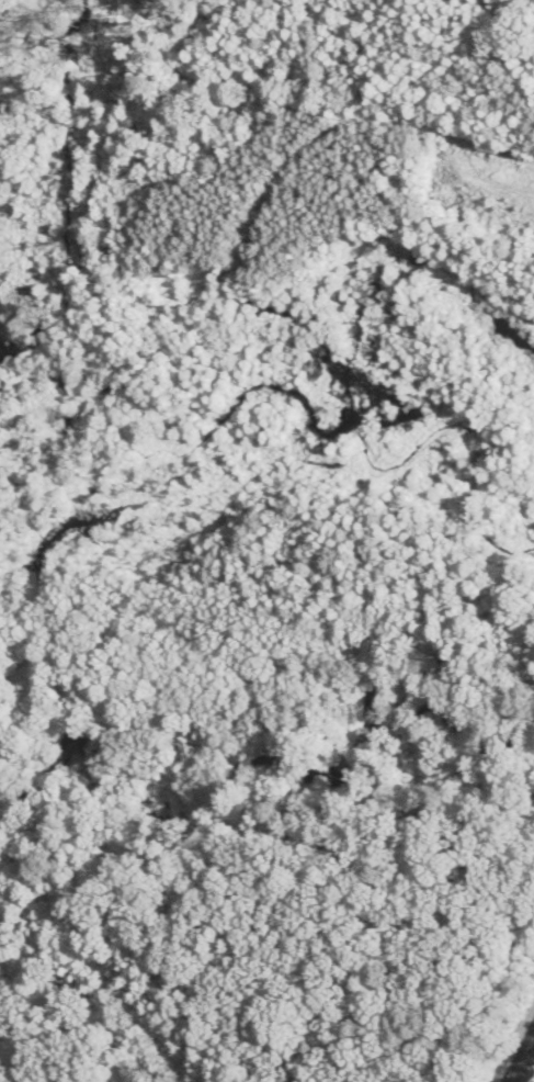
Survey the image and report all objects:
river: (261, 764)
road: (251, 816)
road: (467, 819)
road: (102, 856)
road: (266, 870)
road: (218, 922)
park: (279, 925)
road: (522, 1058)
road: (423, 1059)
road: (443, 1067)
road: (23, 1072)

